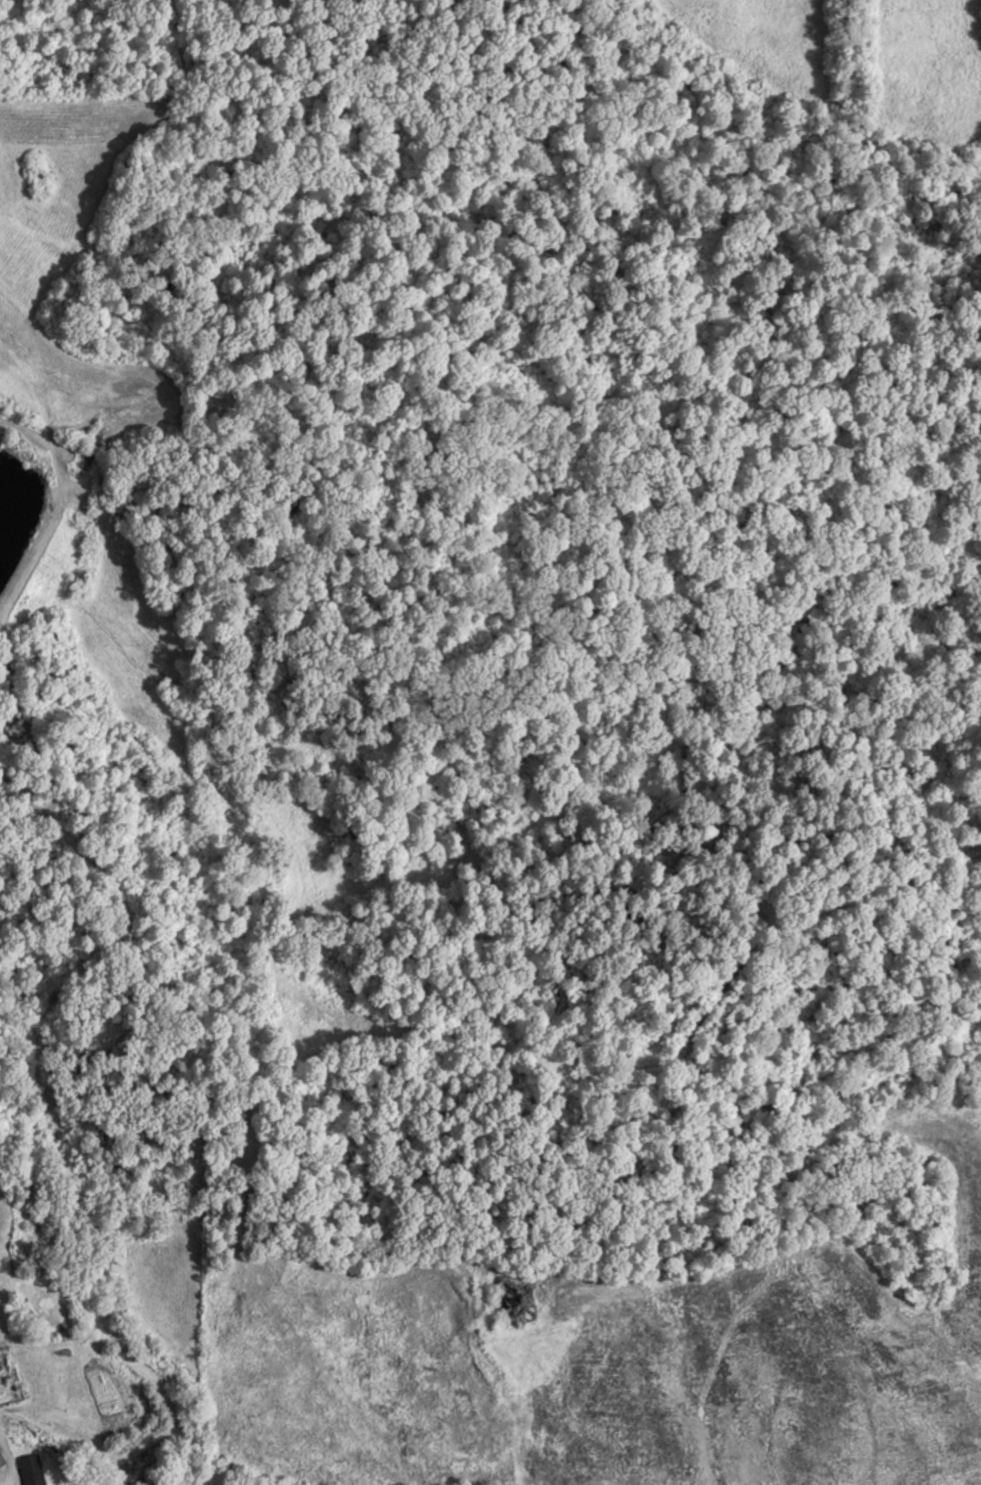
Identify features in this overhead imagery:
road: (9, 1456)
building: (29, 1470)

